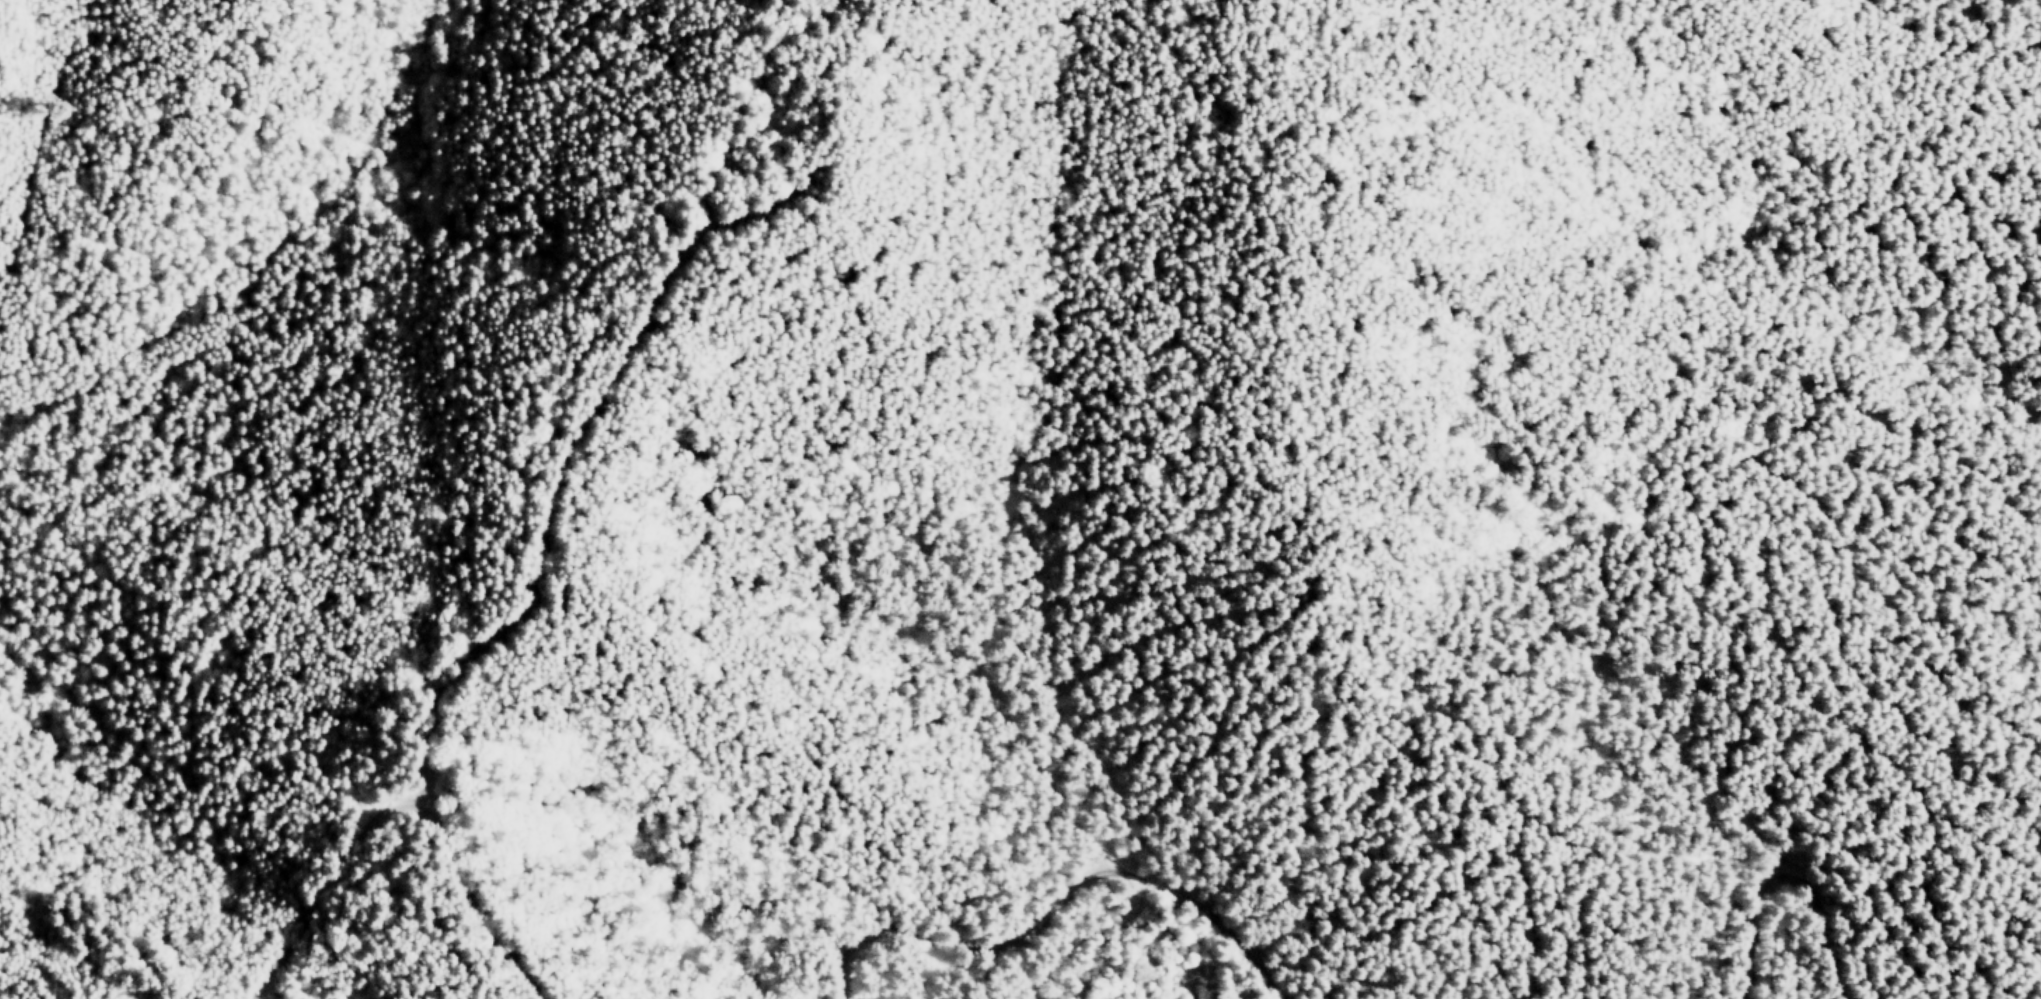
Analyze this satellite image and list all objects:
road: (551, 493)
road: (1784, 877)
road: (330, 884)
road: (1062, 894)

